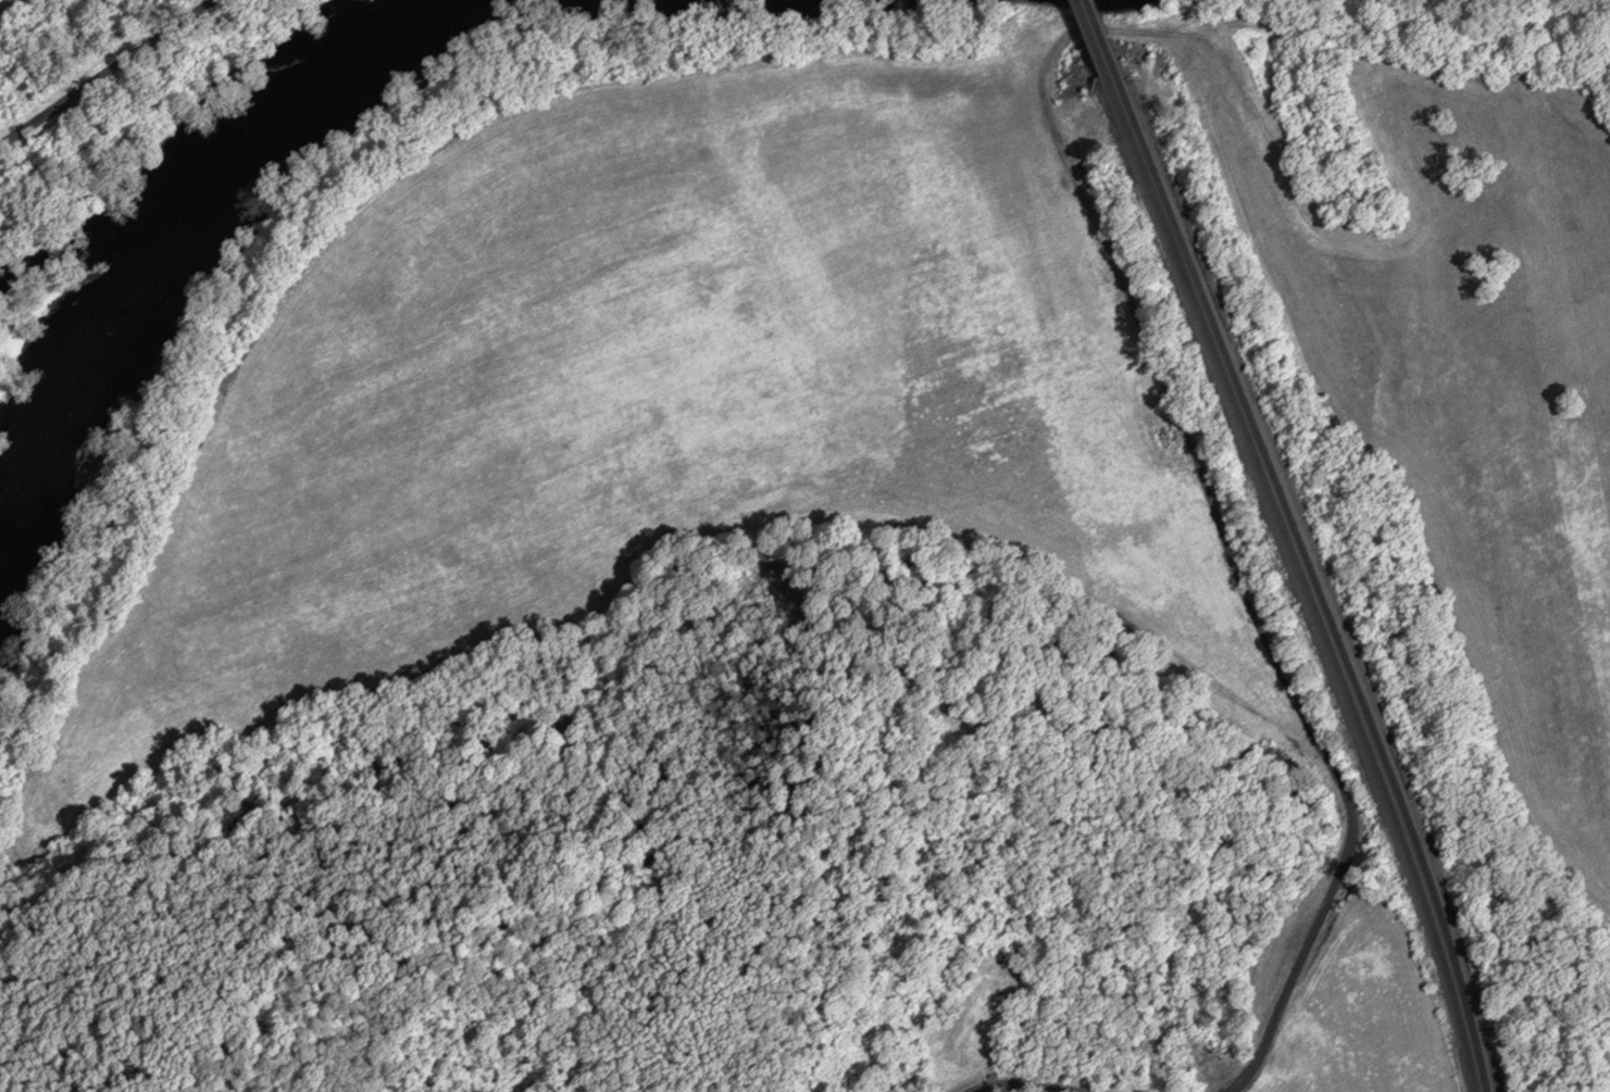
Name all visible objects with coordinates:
road: (8, 5)
railway: (1104, 40)
railway: (1094, 42)
road: (105, 72)
river: (159, 241)
railway: (1316, 582)
railway: (1306, 585)

